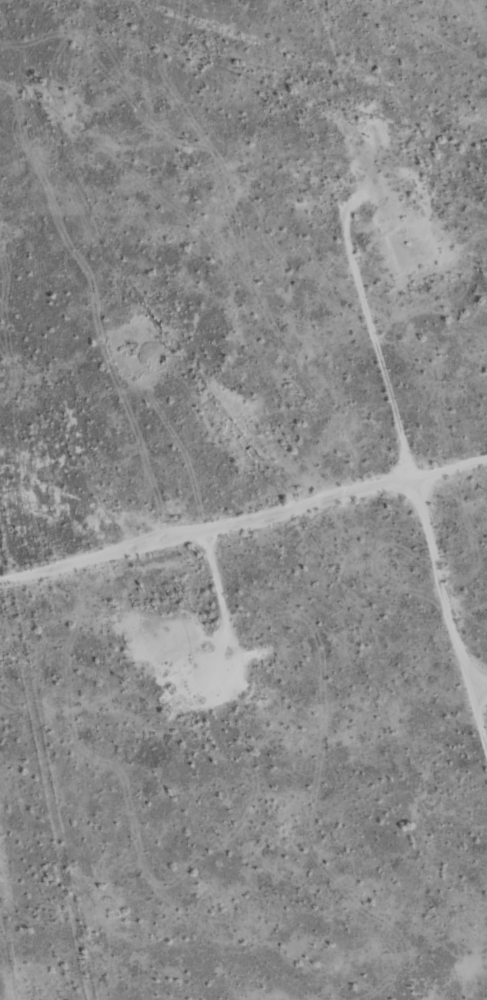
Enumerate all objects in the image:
road: (243, 512)

